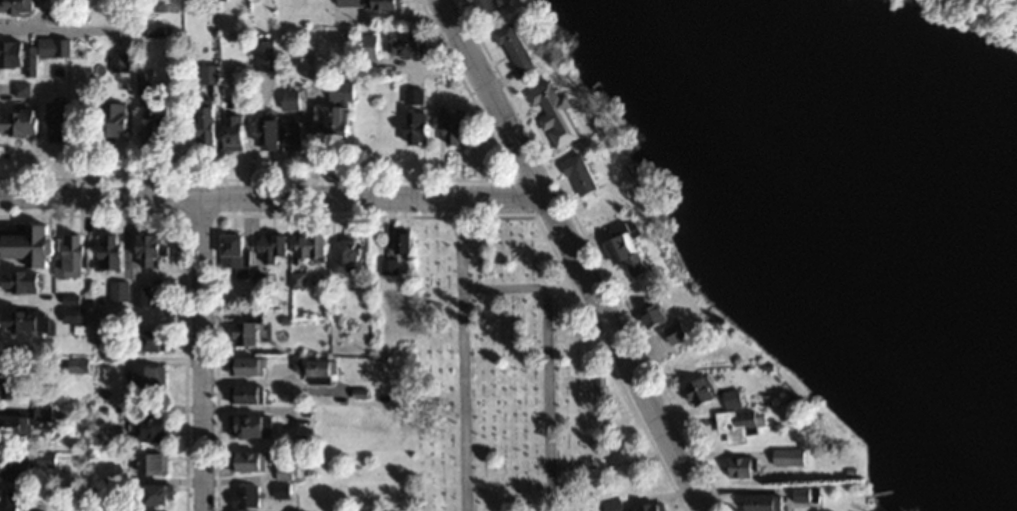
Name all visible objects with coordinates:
building: (370, 3)
building: (19, 5)
building: (489, 5)
building: (410, 44)
building: (54, 45)
building: (369, 45)
building: (517, 46)
building: (19, 54)
building: (119, 61)
building: (210, 72)
building: (142, 81)
building: (22, 88)
building: (414, 94)
building: (290, 98)
building: (555, 104)
building: (339, 110)
building: (115, 117)
building: (60, 119)
building: (161, 120)
building: (22, 121)
building: (212, 123)
building: (418, 125)
building: (455, 126)
building: (237, 130)
building: (283, 131)
building: (582, 174)
road: (273, 198)
river: (838, 217)
building: (405, 240)
building: (312, 243)
building: (154, 247)
building: (272, 247)
building: (46, 248)
building: (116, 249)
building: (236, 251)
building: (629, 252)
building: (344, 254)
road: (574, 254)
building: (297, 279)
building: (23, 280)
building: (120, 289)
building: (142, 294)
building: (73, 299)
building: (76, 313)
building: (657, 314)
building: (25, 319)
building: (243, 331)
building: (680, 331)
building: (156, 339)
building: (112, 351)
road: (202, 354)
building: (80, 364)
building: (249, 365)
building: (322, 369)
park: (513, 375)
building: (152, 376)
building: (13, 380)
building: (701, 391)
building: (248, 393)
building: (740, 421)
building: (252, 423)
building: (16, 425)
building: (156, 427)
building: (785, 456)
building: (47, 458)
building: (251, 460)
building: (155, 462)
building: (742, 465)
building: (16, 466)
building: (286, 471)
building: (157, 492)
building: (806, 494)
building: (245, 495)
building: (11, 499)
building: (763, 502)
building: (613, 505)
building: (651, 507)

